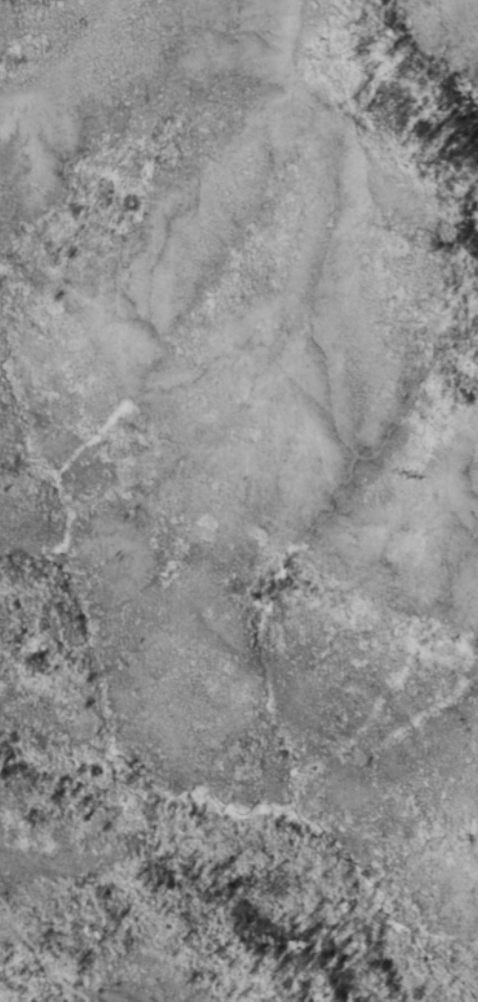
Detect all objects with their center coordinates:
road: (47, 971)
road: (81, 998)

